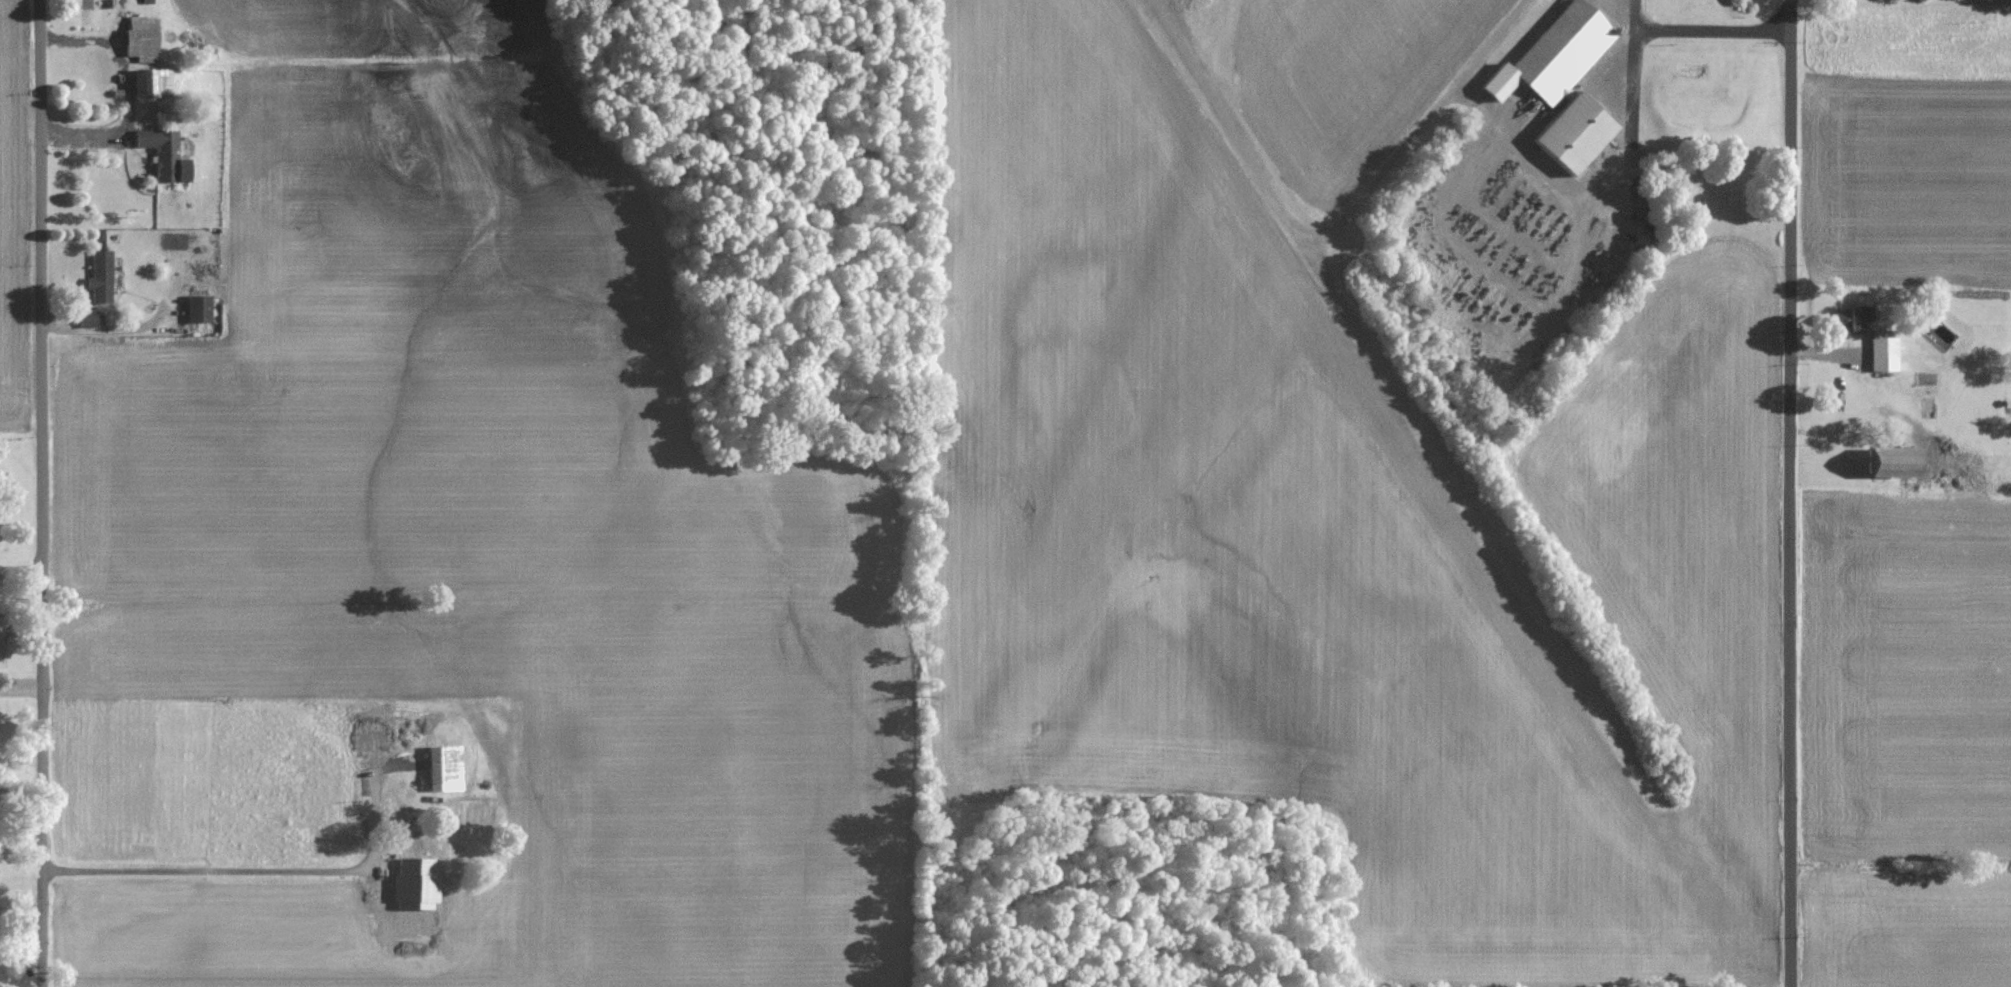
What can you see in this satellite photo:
road: (1706, 28)
building: (144, 38)
building: (1559, 53)
building: (154, 84)
road: (128, 102)
building: (167, 156)
road: (1600, 189)
road: (1329, 224)
building: (103, 278)
building: (202, 310)
road: (107, 314)
building: (92, 319)
building: (1845, 320)
building: (1878, 347)
building: (1885, 463)
road: (43, 493)
road: (1794, 493)
road: (22, 572)
building: (2, 628)
building: (447, 768)
building: (413, 841)
road: (261, 867)
building: (411, 873)

